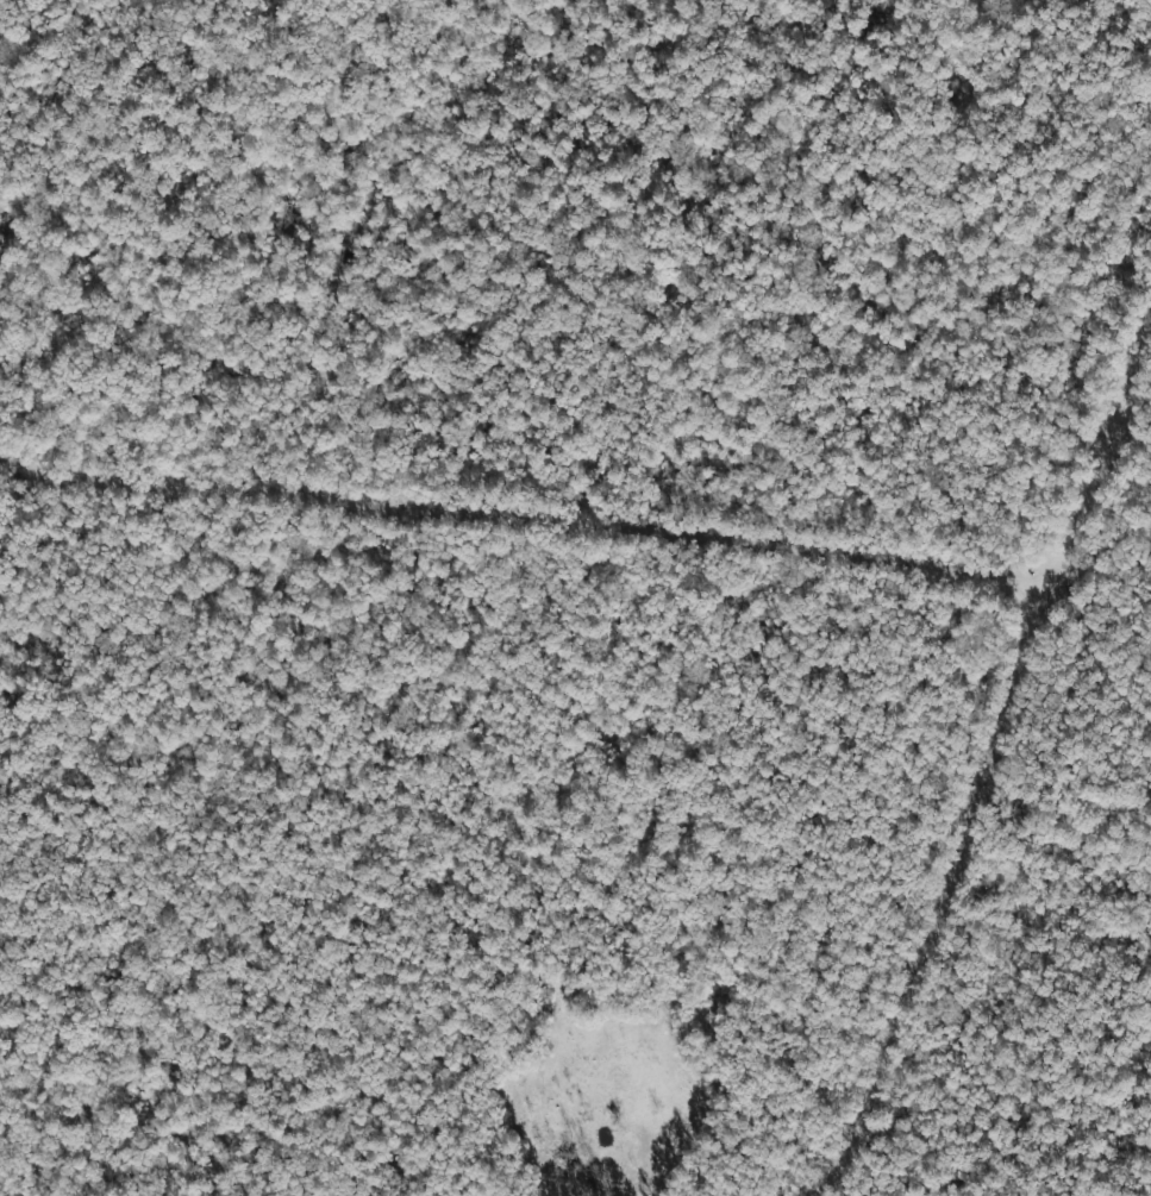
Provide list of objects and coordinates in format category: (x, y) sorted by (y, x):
road: (518, 520)
road: (938, 902)

